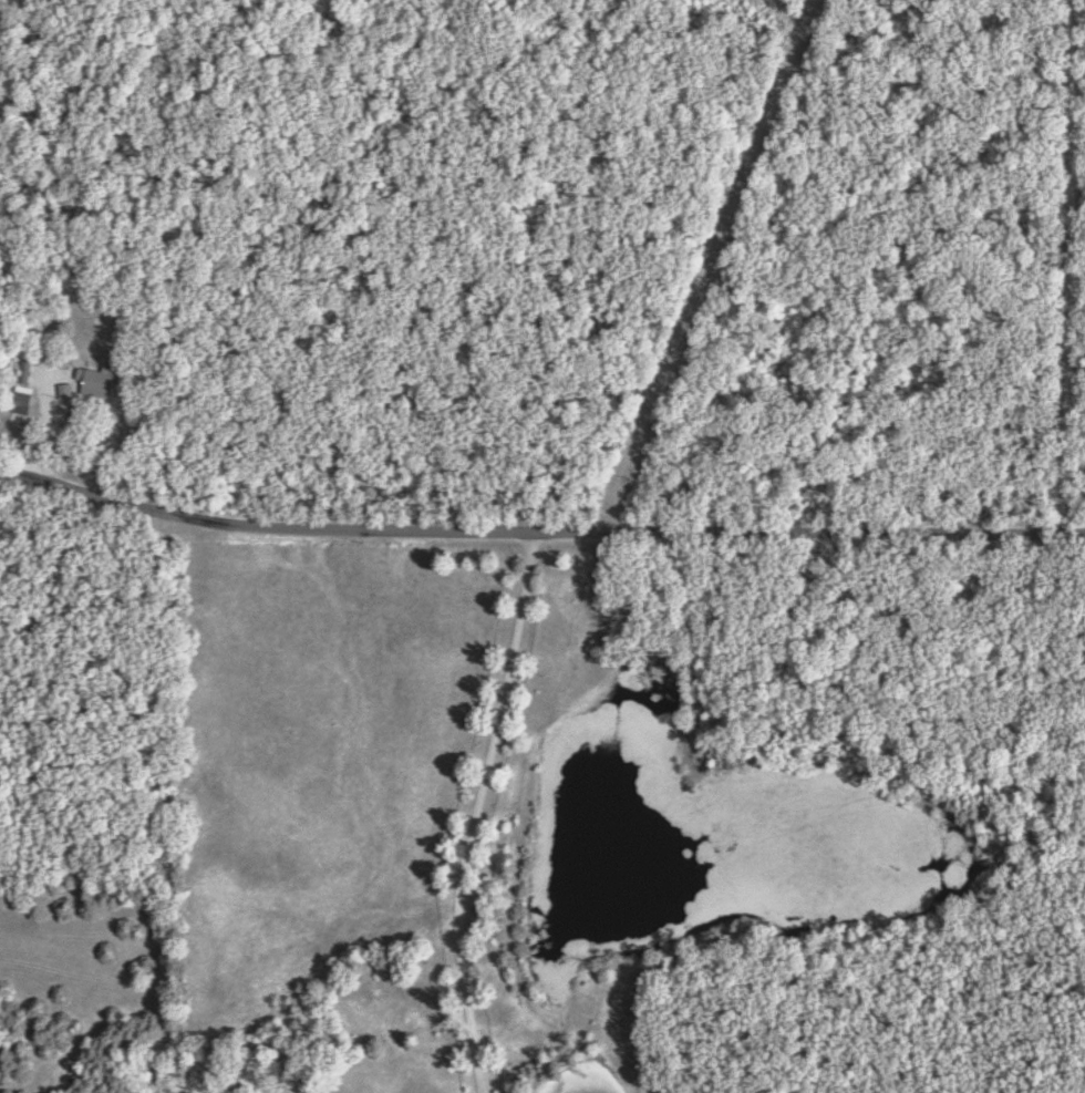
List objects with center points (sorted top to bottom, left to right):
road: (1072, 264)
building: (30, 371)
building: (70, 390)
road: (538, 529)
road: (477, 810)

